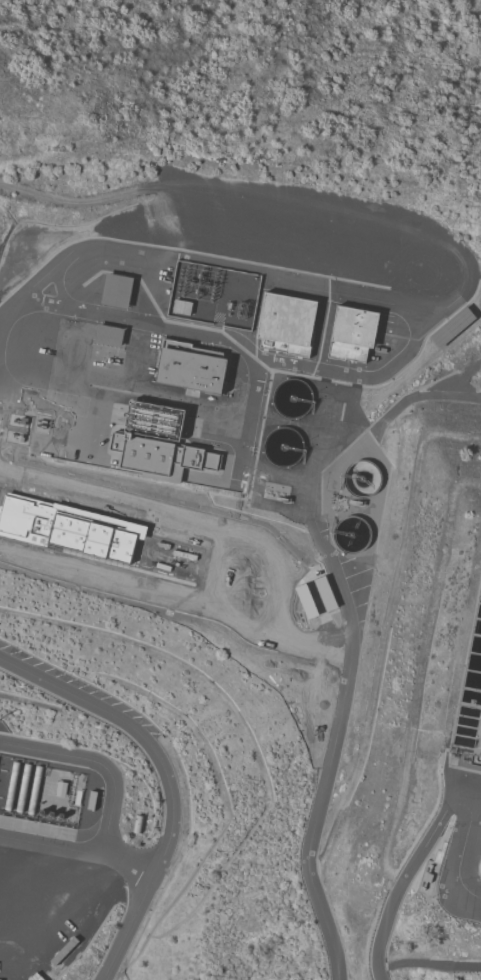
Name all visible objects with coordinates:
building: (117, 292)
building: (287, 327)
building: (453, 328)
building: (353, 336)
building: (109, 337)
building: (192, 370)
building: (159, 445)
road: (338, 701)
road: (97, 764)
road: (167, 781)
road: (468, 791)
road: (465, 830)
road: (50, 846)
road: (128, 864)
building: (480, 876)
road: (394, 910)

